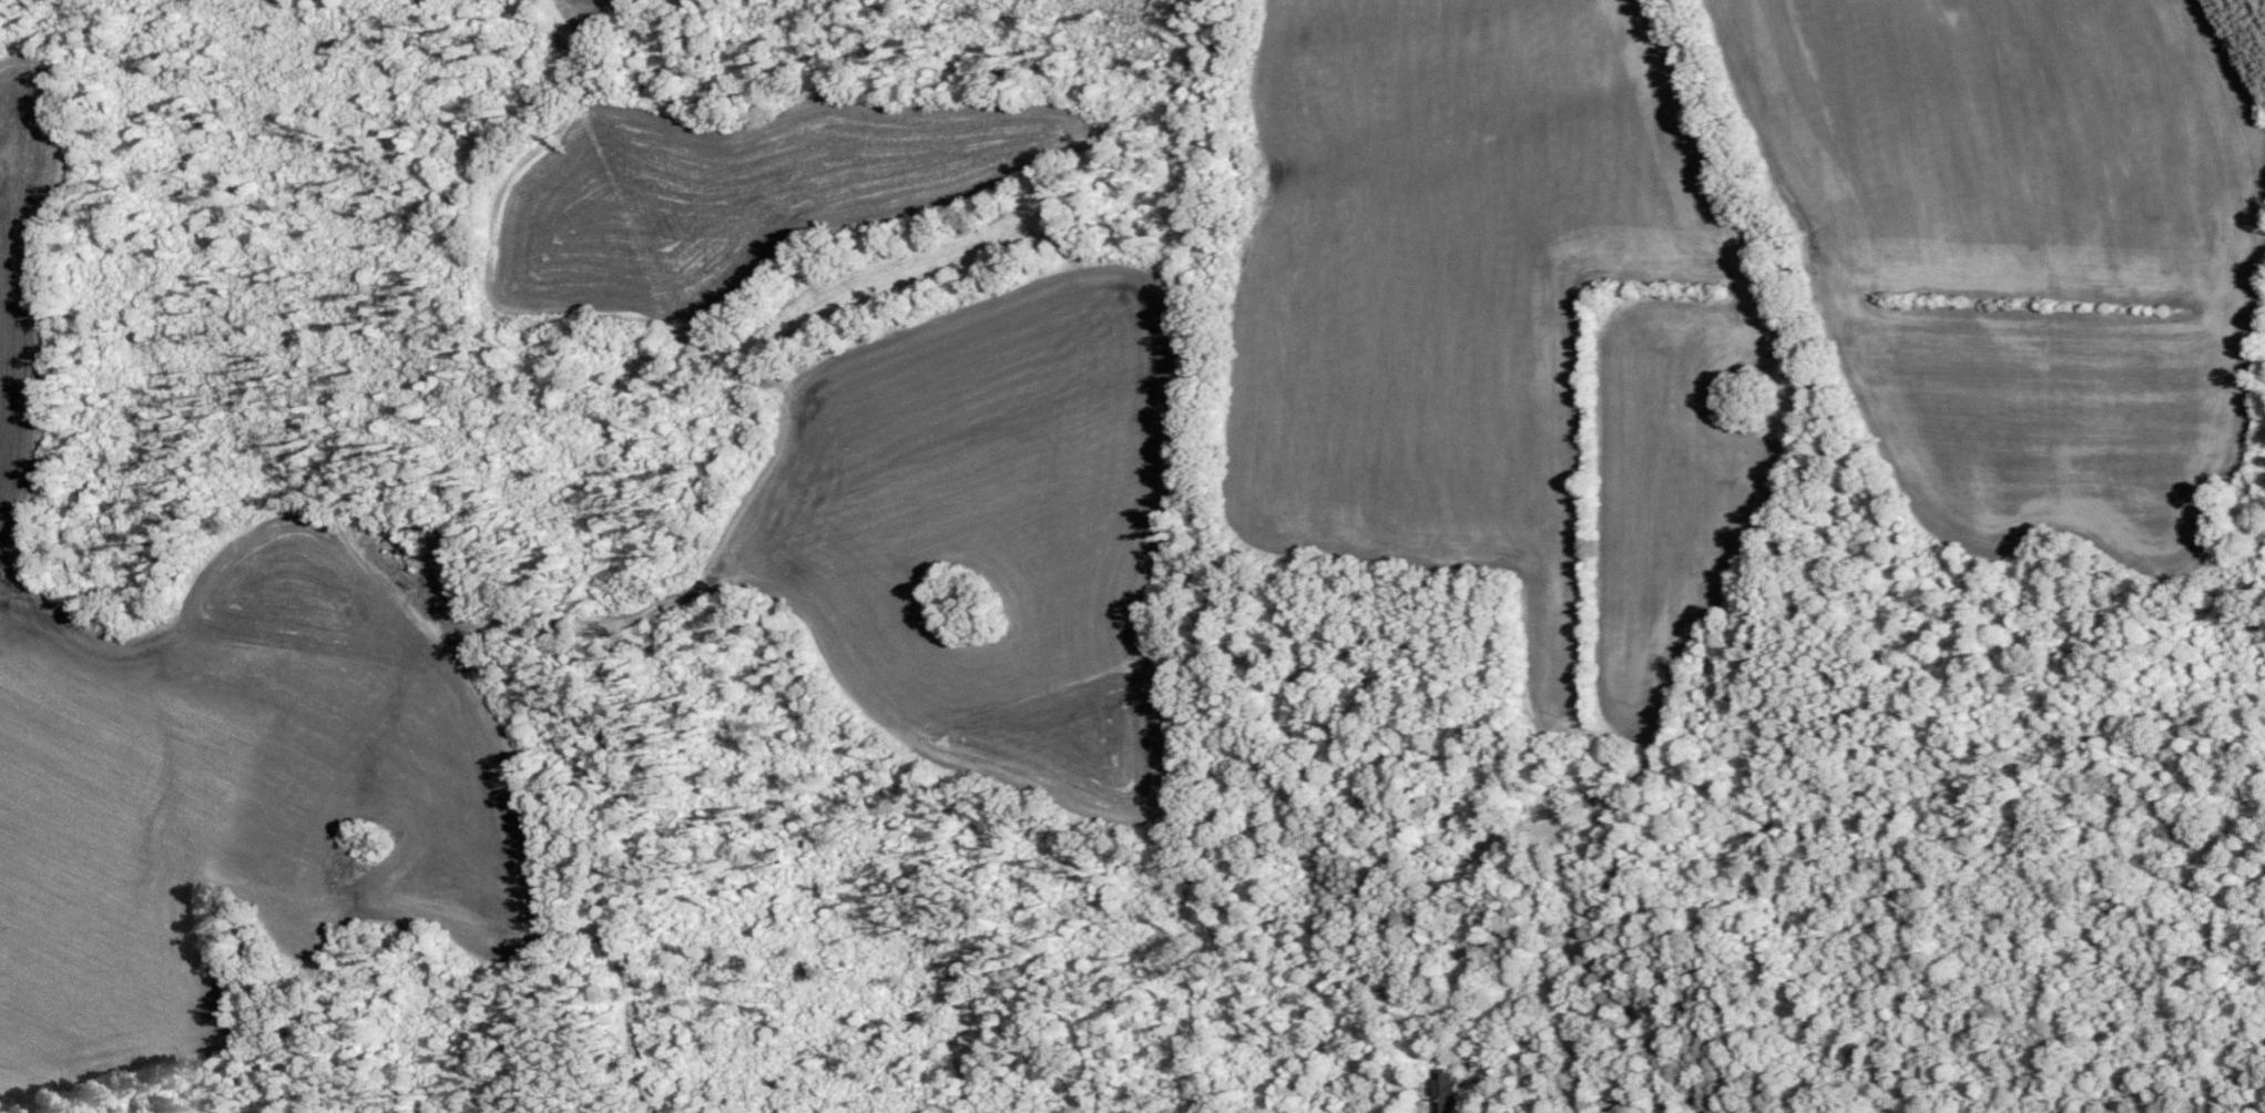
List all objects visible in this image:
building: (1445, 1088)

